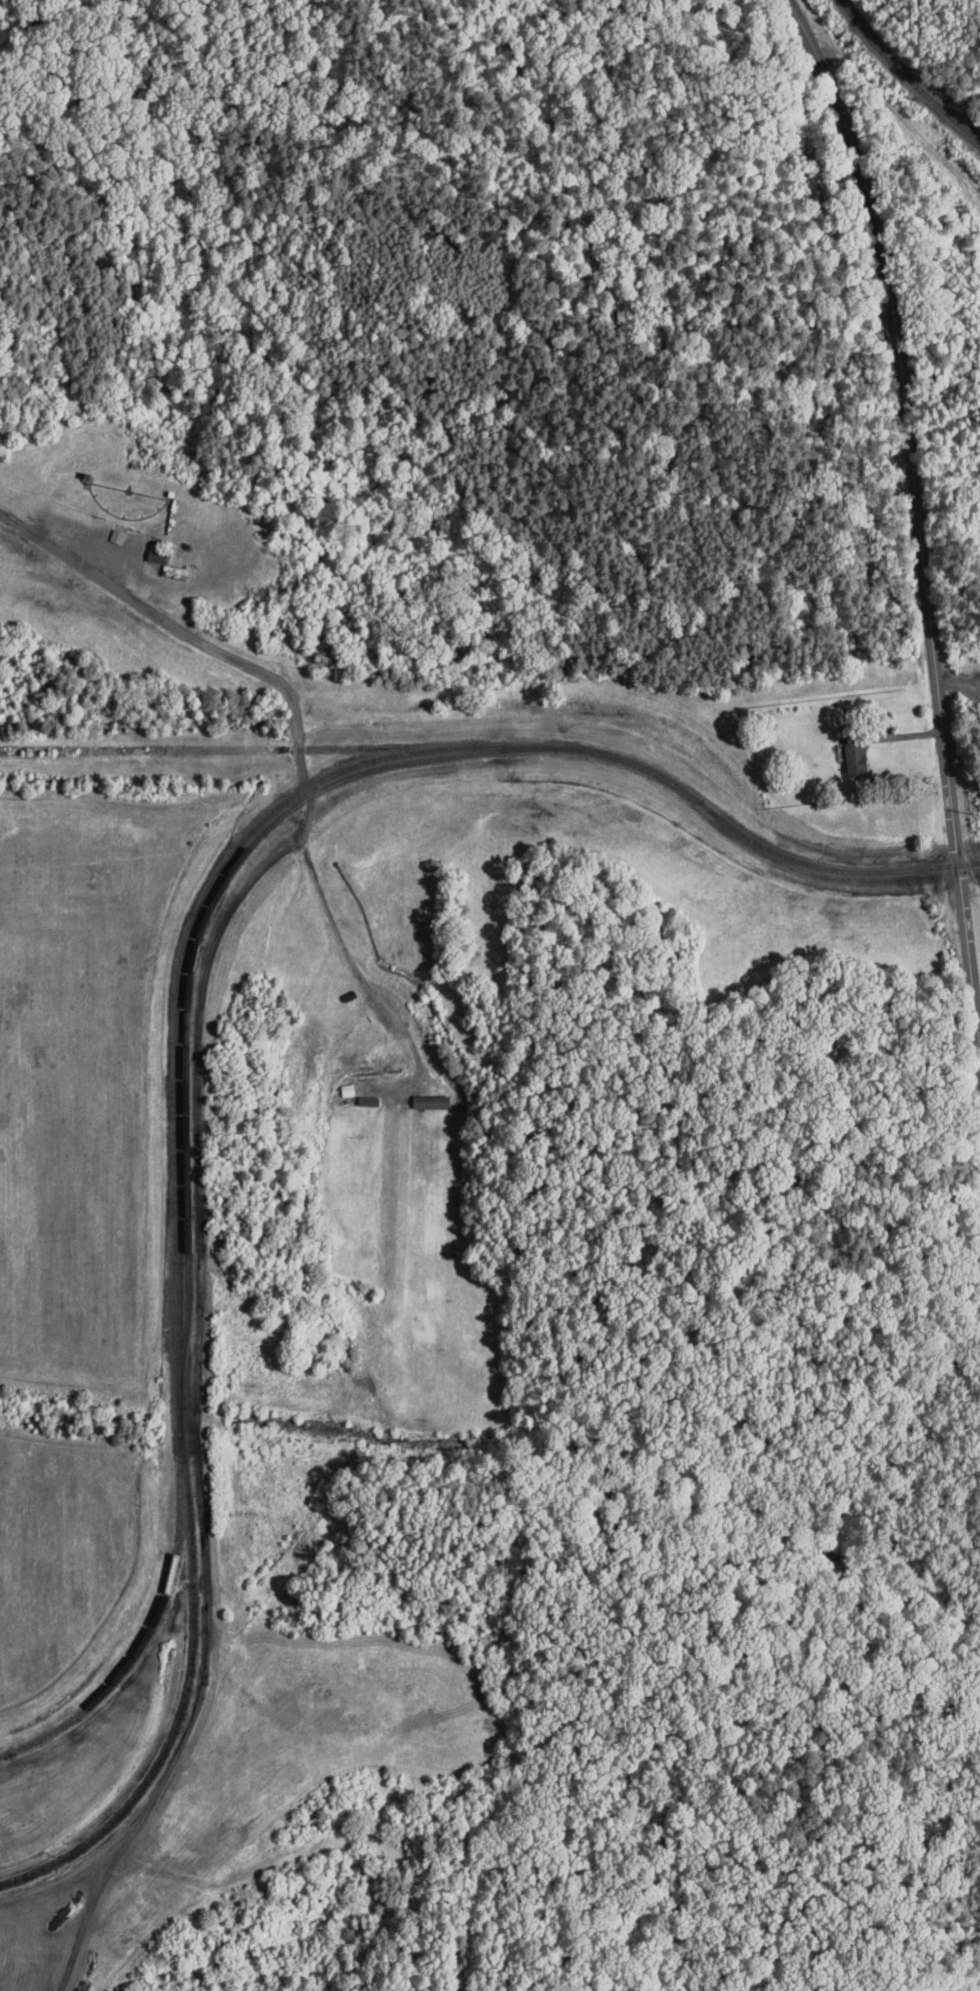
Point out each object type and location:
railway: (909, 74)
road: (919, 511)
road: (351, 961)
railway: (187, 1008)
road: (202, 1168)
railway: (154, 1627)
road: (306, 1843)

